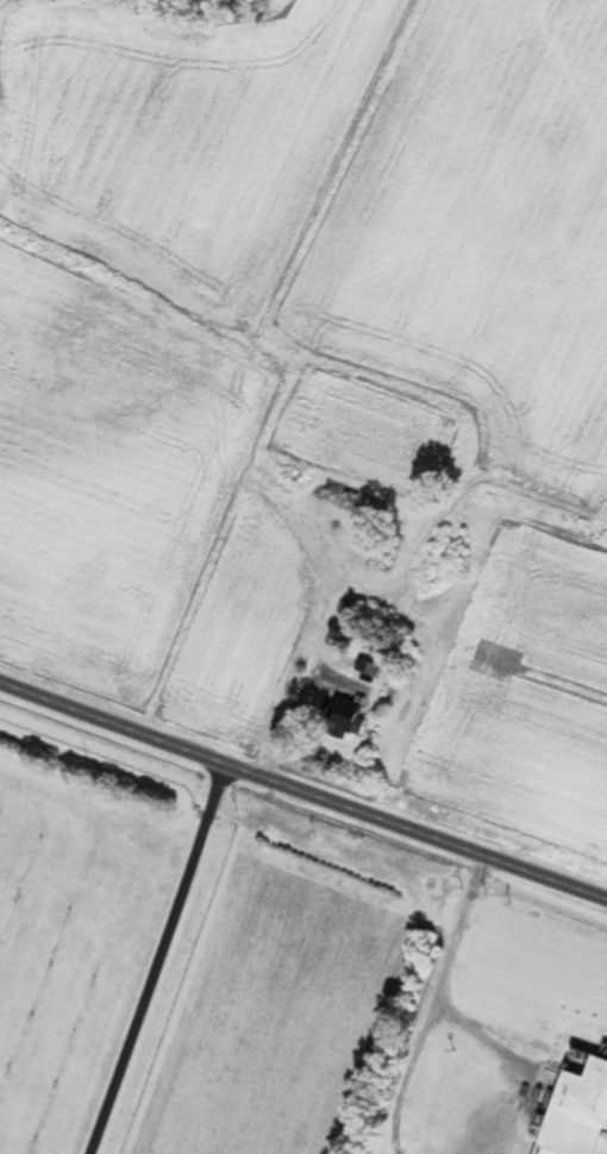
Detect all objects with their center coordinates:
building: (344, 497)
building: (351, 717)
road: (302, 789)
road: (439, 974)
building: (578, 1112)

